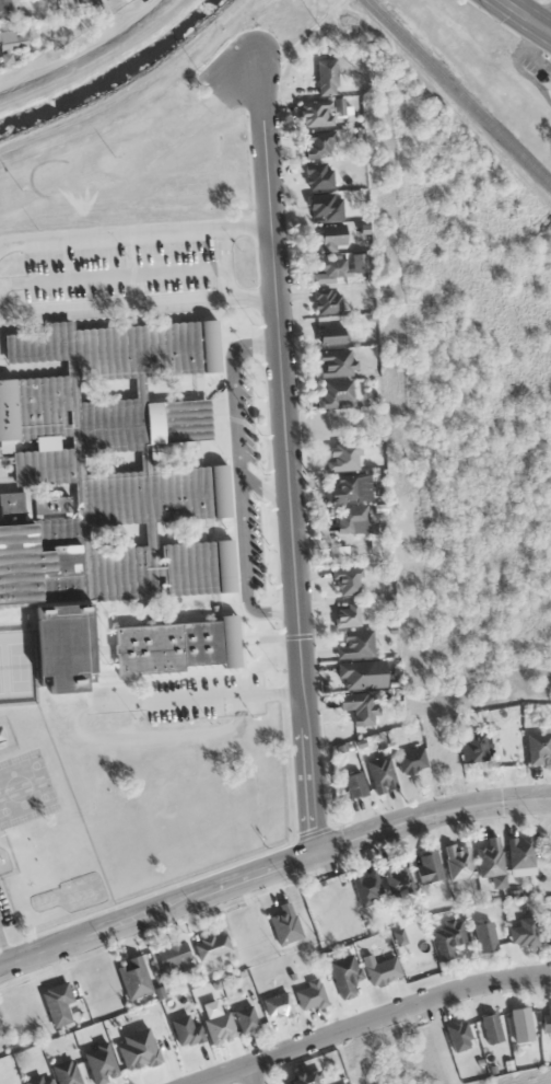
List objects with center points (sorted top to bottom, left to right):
building: (4, 7)
road: (526, 16)
road: (548, 26)
building: (11, 37)
building: (326, 76)
railway: (458, 91)
building: (315, 113)
road: (125, 130)
building: (317, 142)
building: (317, 175)
building: (325, 205)
road: (133, 232)
building: (330, 237)
road: (224, 261)
building: (332, 267)
road: (113, 274)
building: (326, 300)
road: (136, 302)
building: (330, 334)
building: (333, 361)
building: (333, 392)
road: (284, 451)
building: (342, 455)
building: (107, 480)
road: (239, 480)
building: (341, 488)
road: (263, 489)
building: (13, 503)
building: (350, 516)
building: (347, 579)
building: (175, 644)
building: (355, 644)
building: (356, 674)
road: (196, 696)
building: (359, 706)
building: (472, 745)
building: (538, 747)
building: (410, 760)
building: (380, 773)
building: (353, 784)
building: (519, 852)
building: (489, 857)
building: (458, 861)
building: (427, 865)
road: (272, 870)
building: (396, 876)
building: (366, 885)
building: (284, 923)
building: (548, 929)
building: (523, 931)
building: (484, 936)
building: (446, 937)
building: (211, 945)
building: (172, 954)
road: (3, 956)
building: (379, 969)
building: (343, 973)
building: (132, 977)
building: (308, 994)
building: (57, 1002)
building: (277, 1005)
building: (245, 1018)
building: (547, 1019)
road: (373, 1020)
building: (520, 1024)
building: (491, 1027)
building: (185, 1030)
building: (458, 1035)
building: (66, 1072)
road: (250, 1075)
building: (298, 1079)
building: (38, 1080)

